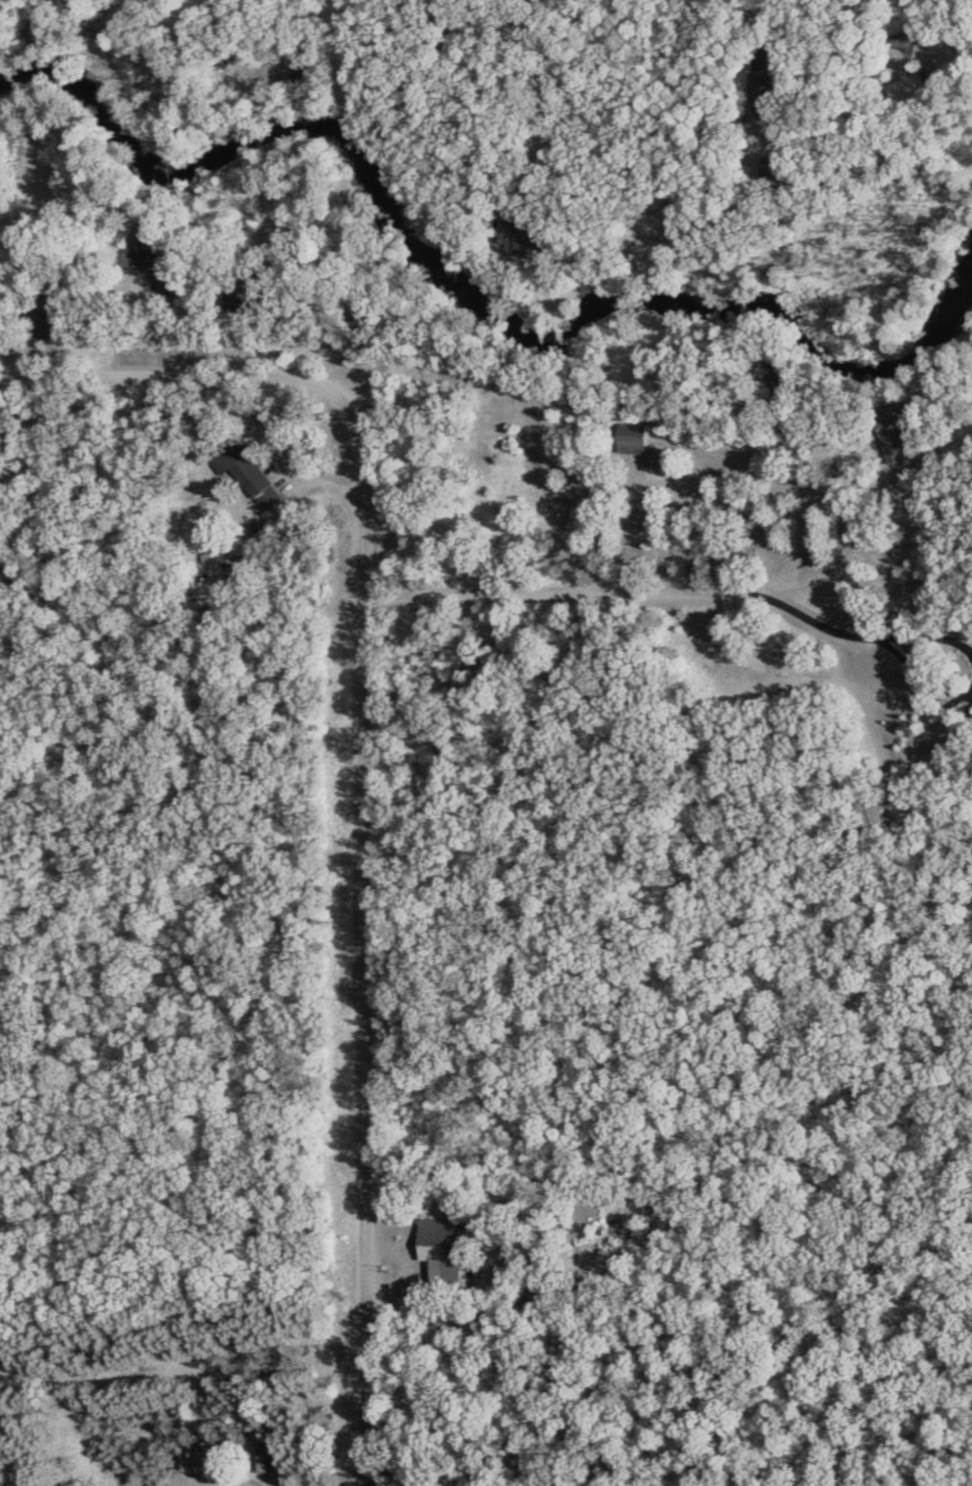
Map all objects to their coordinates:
building: (917, 81)
building: (160, 242)
river: (461, 285)
building: (782, 373)
road: (275, 379)
building: (895, 443)
building: (647, 450)
building: (251, 472)
road: (572, 591)
building: (876, 814)
road: (371, 1040)
building: (452, 1248)

